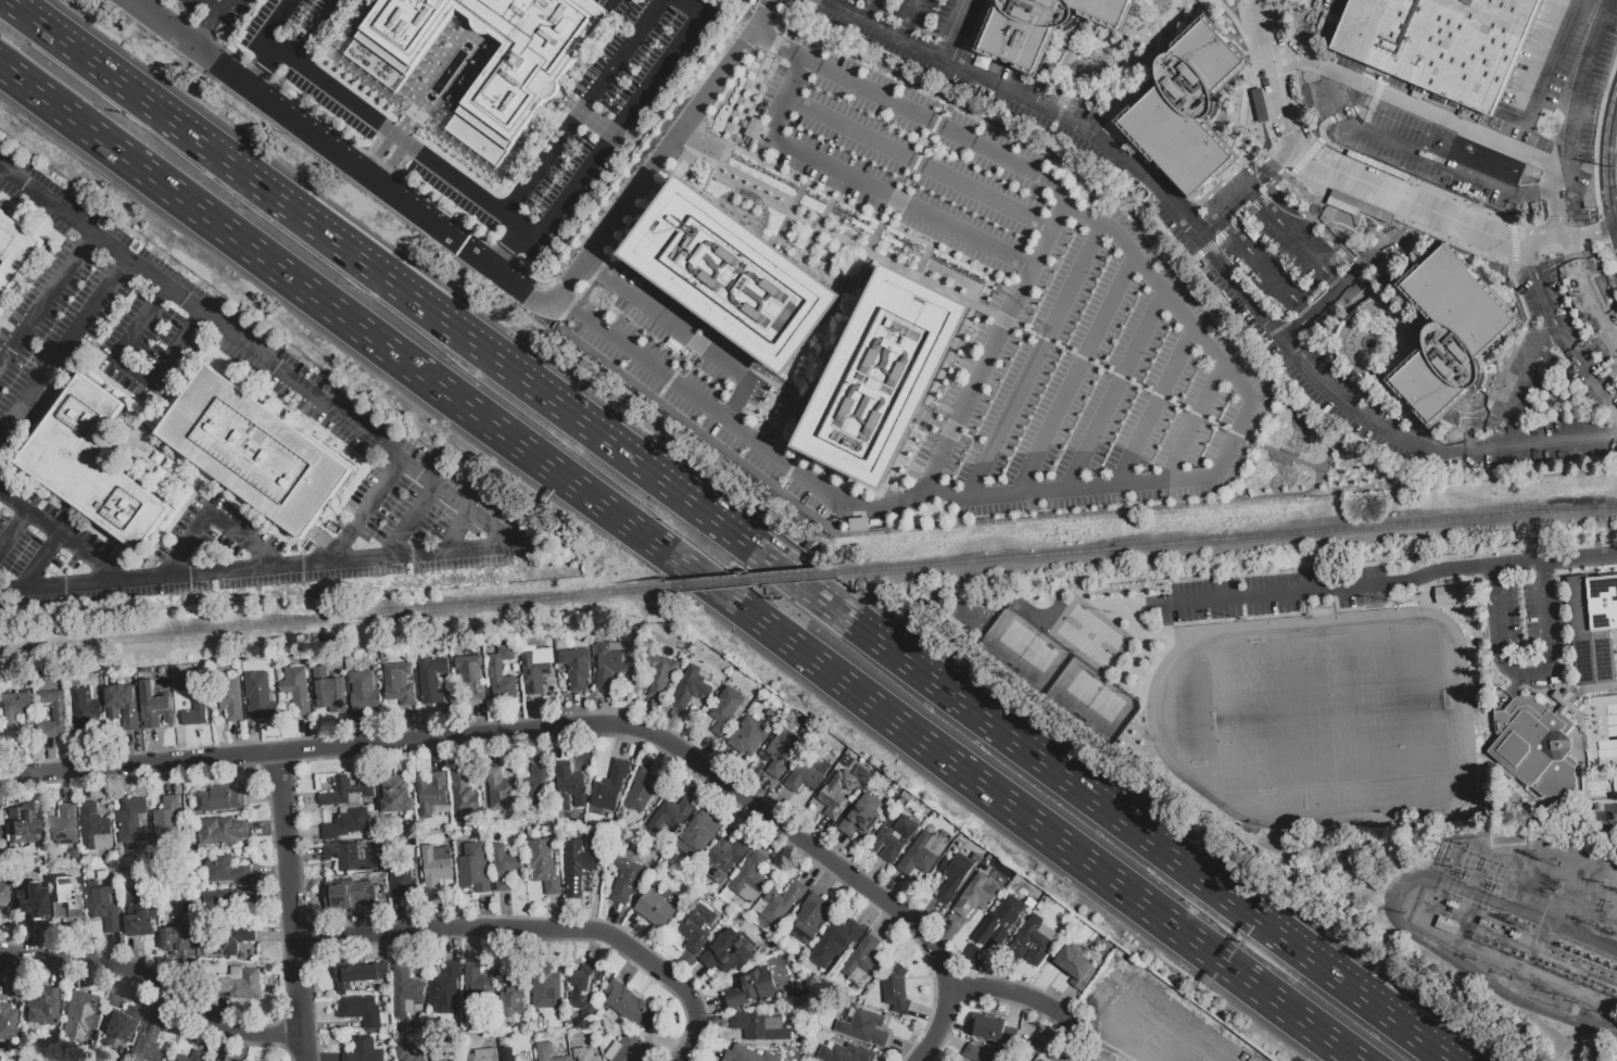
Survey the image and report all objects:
road: (821, 0)
road: (216, 4)
parking lot: (1331, 5)
parking lot: (218, 11)
road: (871, 11)
road: (1230, 17)
road: (912, 21)
road: (214, 24)
road: (1155, 24)
road: (275, 26)
building: (1040, 27)
road: (952, 29)
road: (320, 30)
road: (968, 40)
road: (192, 43)
building: (1438, 43)
road: (778, 47)
road: (288, 55)
parking lot: (308, 56)
road: (1122, 62)
building: (348, 65)
parking lot: (969, 65)
road: (264, 67)
road: (1053, 77)
road: (1255, 79)
building: (517, 84)
road: (755, 85)
parking lot: (1373, 105)
building: (1186, 106)
road: (585, 108)
road: (1054, 119)
road: (1107, 119)
road: (1445, 119)
road: (626, 122)
parking lot: (589, 127)
building: (753, 127)
road: (410, 144)
road: (666, 149)
road: (1255, 151)
road: (367, 154)
road: (381, 154)
road: (915, 160)
road: (918, 162)
road: (394, 163)
road: (1594, 163)
road: (1607, 165)
power tower: (1616, 170)
road: (365, 173)
road: (1480, 180)
road: (1218, 182)
road: (1381, 189)
road: (1247, 190)
road: (1471, 202)
road: (1252, 205)
road: (824, 211)
road: (787, 212)
road: (875, 215)
road: (1404, 222)
road: (1330, 236)
road: (1294, 237)
parking lot: (1518, 237)
road: (510, 249)
building: (14, 251)
road: (923, 258)
road: (1218, 258)
road: (1263, 264)
road: (1031, 266)
road: (1354, 273)
building: (729, 276)
road: (606, 277)
road: (515, 287)
road: (1589, 293)
road: (47, 294)
road: (571, 304)
parking lot: (1029, 307)
road: (202, 312)
road: (1016, 325)
road: (823, 332)
building: (1448, 333)
road: (1561, 333)
road: (64, 345)
road: (703, 350)
road: (1034, 359)
road: (681, 362)
road: (136, 370)
road: (1073, 372)
building: (882, 376)
road: (768, 380)
road: (1526, 384)
road: (1114, 388)
road: (1562, 397)
road: (1157, 404)
road: (1197, 420)
street lamp: (559, 440)
road: (1231, 446)
building: (253, 451)
building: (91, 464)
road: (788, 470)
railway: (1471, 497)
road: (848, 504)
road: (1137, 507)
road: (369, 513)
road: (215, 515)
street lamp: (661, 517)
road: (415, 522)
road: (725, 530)
road: (13, 531)
road: (460, 532)
railway: (1225, 536)
road: (63, 538)
road: (501, 548)
road: (45, 565)
road: (683, 565)
railway: (748, 579)
road: (166, 580)
road: (1398, 582)
parking lot: (1274, 593)
building: (1443, 593)
railway: (330, 615)
railway: (293, 616)
parking lot: (1530, 618)
building: (1592, 627)
park: (1089, 635)
park: (1027, 646)
building: (610, 664)
building: (534, 667)
building: (574, 667)
building: (501, 672)
building: (660, 674)
building: (469, 677)
road: (1528, 677)
building: (431, 679)
building: (400, 683)
building: (691, 686)
building: (296, 689)
park: (1298, 689)
building: (328, 690)
building: (363, 692)
park: (1094, 696)
building: (230, 697)
building: (193, 698)
building: (260, 699)
building: (154, 705)
road: (452, 705)
building: (84, 708)
road: (607, 708)
road: (581, 709)
street lamp: (622, 709)
park: (1329, 709)
building: (725, 710)
road: (518, 711)
road: (539, 712)
building: (53, 713)
building: (14, 715)
road: (652, 716)
building: (129, 717)
road: (480, 718)
street lamp: (455, 722)
road: (413, 724)
road: (670, 724)
road: (565, 728)
road: (363, 729)
road: (343, 731)
road: (180, 732)
road: (305, 734)
building: (748, 736)
road: (258, 738)
road: (238, 740)
road: (686, 742)
road: (563, 744)
road: (627, 744)
road: (535, 745)
building: (1534, 746)
road: (156, 747)
road: (493, 747)
road: (135, 749)
road: (379, 751)
road: (705, 751)
building: (779, 751)
road: (459, 753)
road: (438, 755)
road: (50, 756)
road: (658, 756)
road: (392, 760)
road: (17, 761)
road: (277, 763)
road: (365, 763)
road: (723, 765)
building: (809, 769)
road: (170, 778)
road: (141, 781)
building: (538, 784)
road: (87, 785)
building: (569, 785)
building: (609, 786)
road: (699, 786)
road: (67, 787)
building: (498, 788)
building: (643, 788)
road: (15, 792)
building: (346, 792)
building: (431, 793)
road: (760, 793)
building: (837, 793)
building: (462, 794)
building: (396, 795)
road: (267, 796)
building: (219, 799)
road: (720, 800)
road: (780, 806)
building: (669, 814)
building: (860, 816)
building: (168, 819)
building: (130, 822)
building: (348, 824)
building: (24, 825)
building: (62, 825)
road: (754, 825)
building: (94, 826)
road: (269, 828)
building: (222, 830)
building: (697, 833)
road: (305, 834)
building: (2, 835)
building: (893, 835)
road: (819, 836)
power tower: (1564, 837)
street lamp: (823, 839)
road: (773, 841)
road: (834, 848)
building: (727, 852)
building: (920, 852)
road: (305, 854)
building: (351, 857)
building: (980, 857)
building: (543, 864)
building: (503, 866)
building: (434, 867)
building: (576, 867)
building: (473, 868)
building: (223, 869)
building: (401, 871)
road: (813, 871)
road: (271, 872)
building: (749, 873)
road: (874, 874)
building: (952, 876)
building: (626, 879)
road: (832, 879)
road: (893, 886)
building: (64, 892)
building: (351, 892)
building: (976, 893)
building: (4, 894)
road: (274, 896)
road: (275, 897)
building: (31, 900)
building: (229, 901)
building: (779, 904)
building: (103, 905)
road: (293, 907)
building: (654, 908)
road: (505, 910)
road: (870, 910)
road: (437, 911)
road: (484, 911)
power substation: (1527, 911)
building: (137, 912)
road: (401, 913)
road: (557, 913)
building: (810, 918)
road: (933, 918)
road: (370, 919)
building: (1005, 919)
road: (614, 922)
road: (886, 922)
building: (695, 925)
road: (629, 929)
road: (540, 931)
road: (277, 935)
road: (946, 935)
building: (229, 937)
road: (71, 938)
road: (482, 938)
road: (45, 939)
road: (312, 939)
building: (178, 940)
building: (1033, 940)
building: (835, 942)
road: (452, 945)
road: (472, 945)
road: (521, 946)
road: (593, 946)
road: (384, 947)
road: (404, 948)
road: (118, 950)
building: (729, 950)
road: (139, 956)
building: (863, 956)
street lamp: (953, 959)
road: (980, 964)
building: (1074, 965)
road: (632, 967)
road: (680, 969)
road: (1469, 970)
road: (53, 972)
building: (358, 972)
road: (1005, 973)
road: (88, 975)
road: (694, 978)
road: (156, 981)
building: (238, 983)
building: (477, 985)
building: (545, 985)
building: (751, 987)
building: (444, 988)
building: (583, 988)
building: (895, 989)
building: (516, 990)
building: (405, 991)
road: (142, 993)
road: (1011, 994)
road: (974, 996)
road: (161, 998)
road: (1068, 1001)
building: (630, 1005)
road: (710, 1006)
building: (41, 1007)
road: (1012, 1008)
building: (361, 1010)
road: (225, 1013)
street lamp: (707, 1013)
road: (927, 1014)
building: (79, 1016)
road: (712, 1022)
building: (8, 1023)
road: (323, 1024)
building: (759, 1025)
building: (862, 1026)
building: (121, 1027)
building: (989, 1027)
road: (283, 1032)
road: (209, 1036)
road: (950, 1039)
building: (149, 1040)
road: (248, 1043)
road: (224, 1045)
road: (906, 1048)
building: (626, 1049)
building: (362, 1050)
road: (706, 1051)
building: (437, 1052)
building: (547, 1052)
building: (845, 1052)
building: (406, 1053)
building: (975, 1053)
building: (483, 1054)
building: (584, 1054)
building: (748, 1054)
building: (190, 1057)
building: (1078, 1058)
building: (509, 1059)
building: (1613, 1059)
building: (210, 1060)
road: (323, 1060)
road: (685, 1060)

